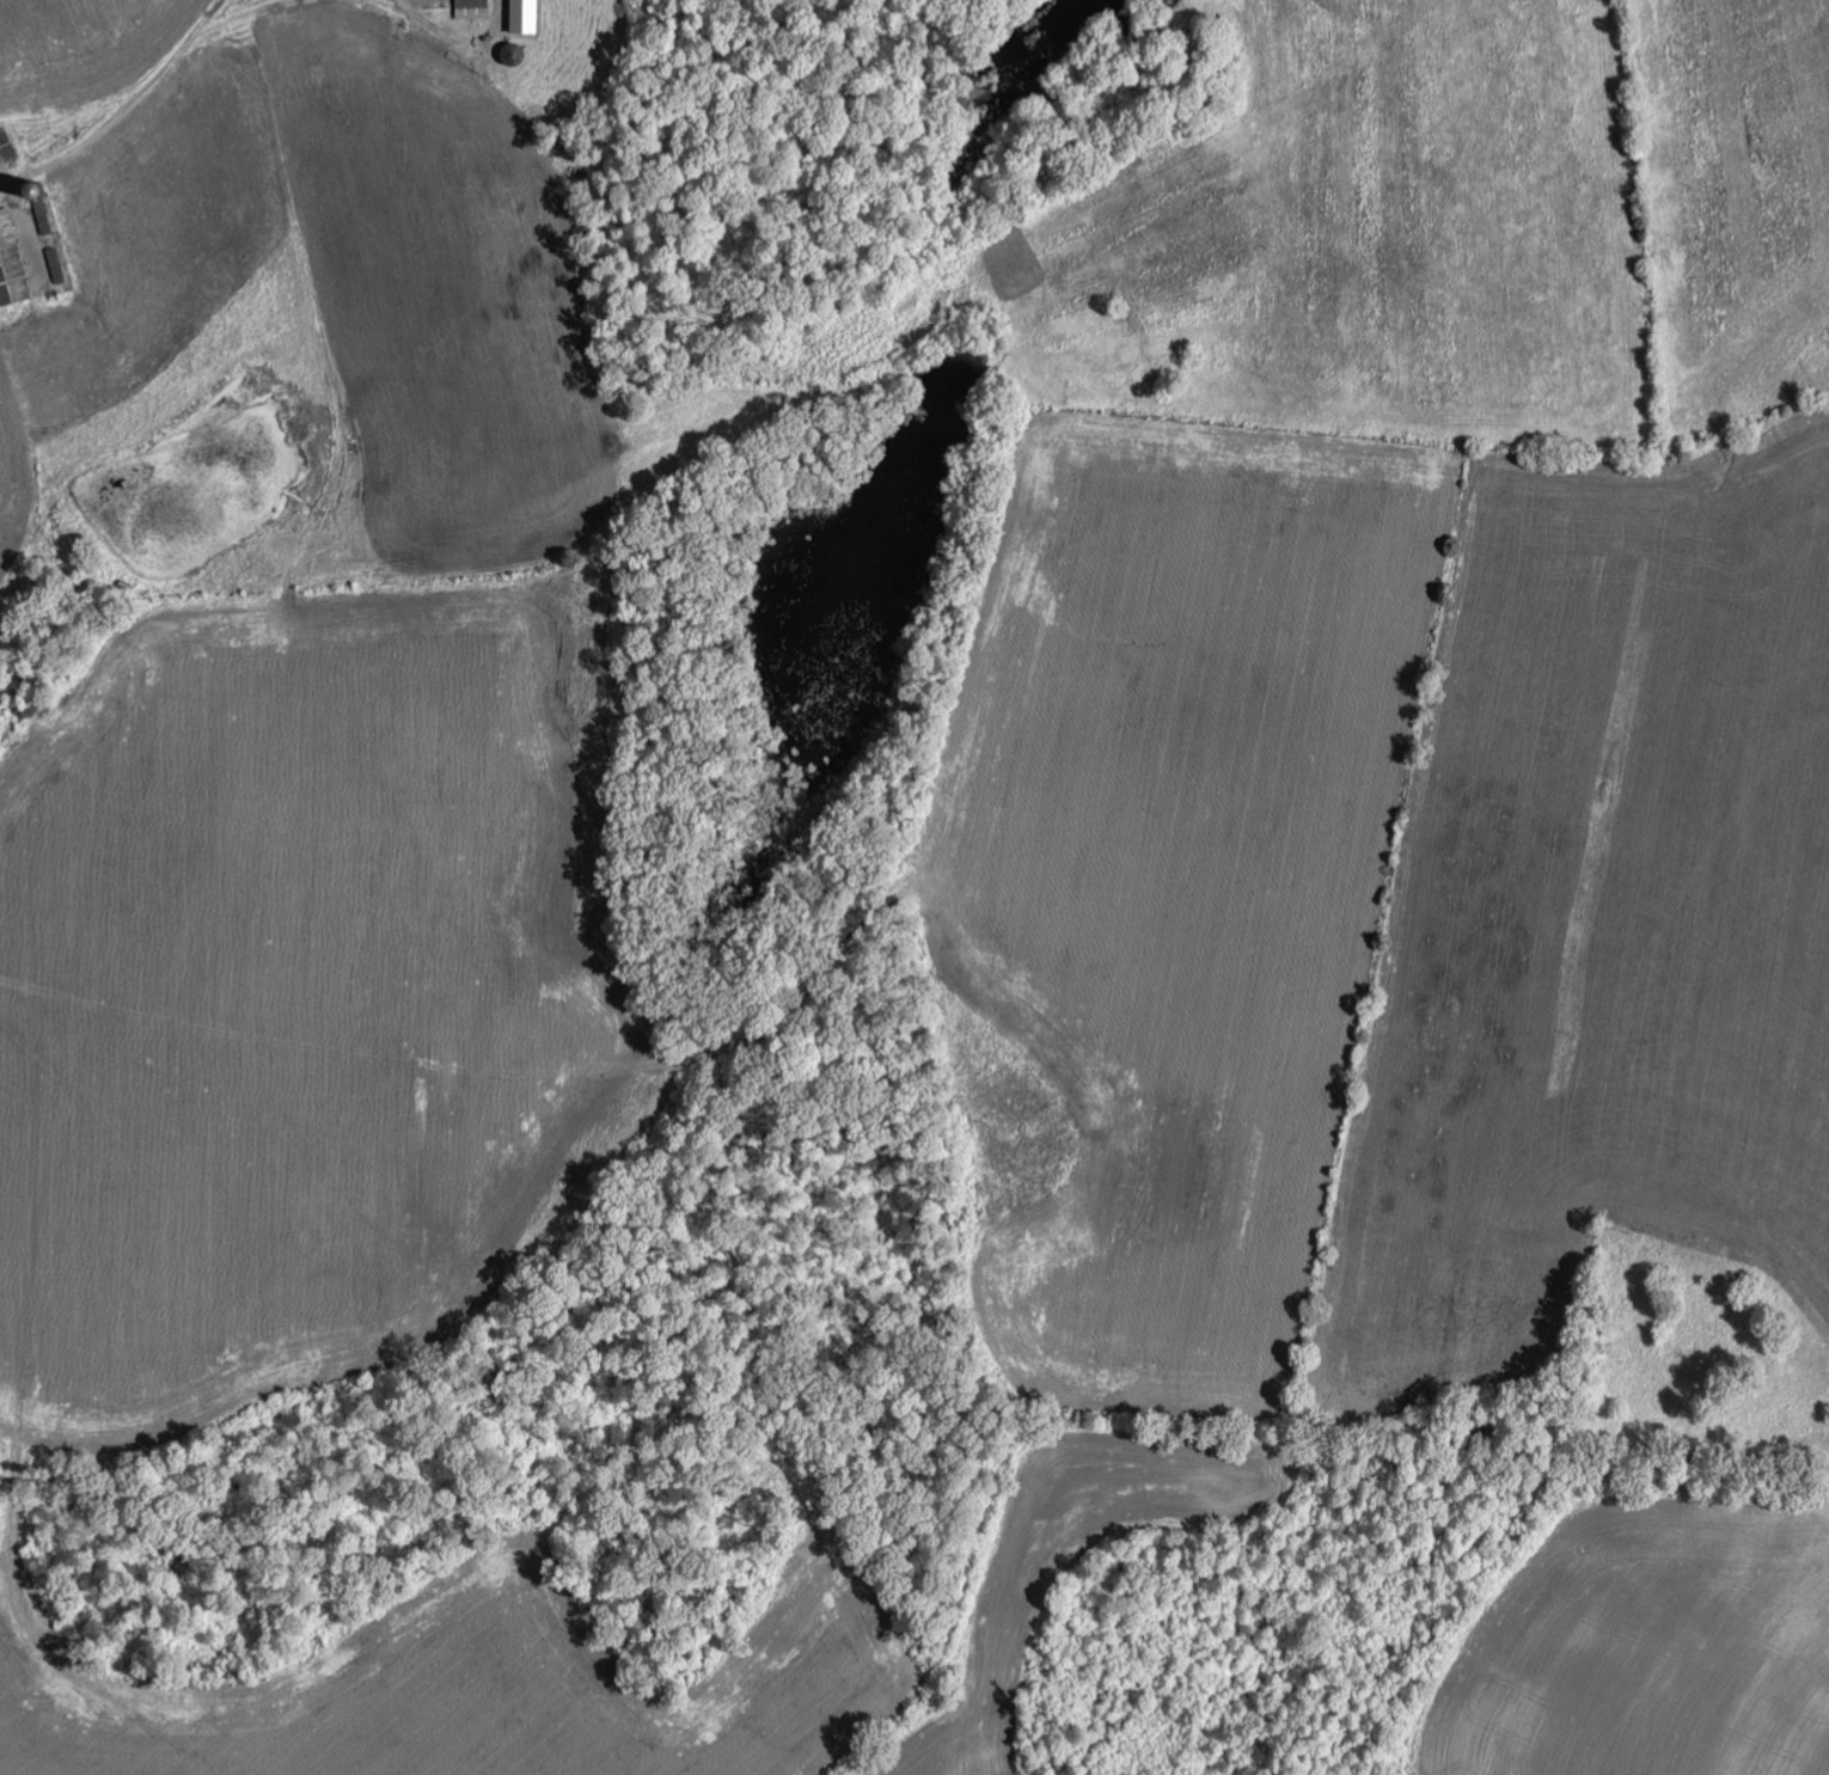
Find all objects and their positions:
building: (473, 8)
building: (12, 262)

